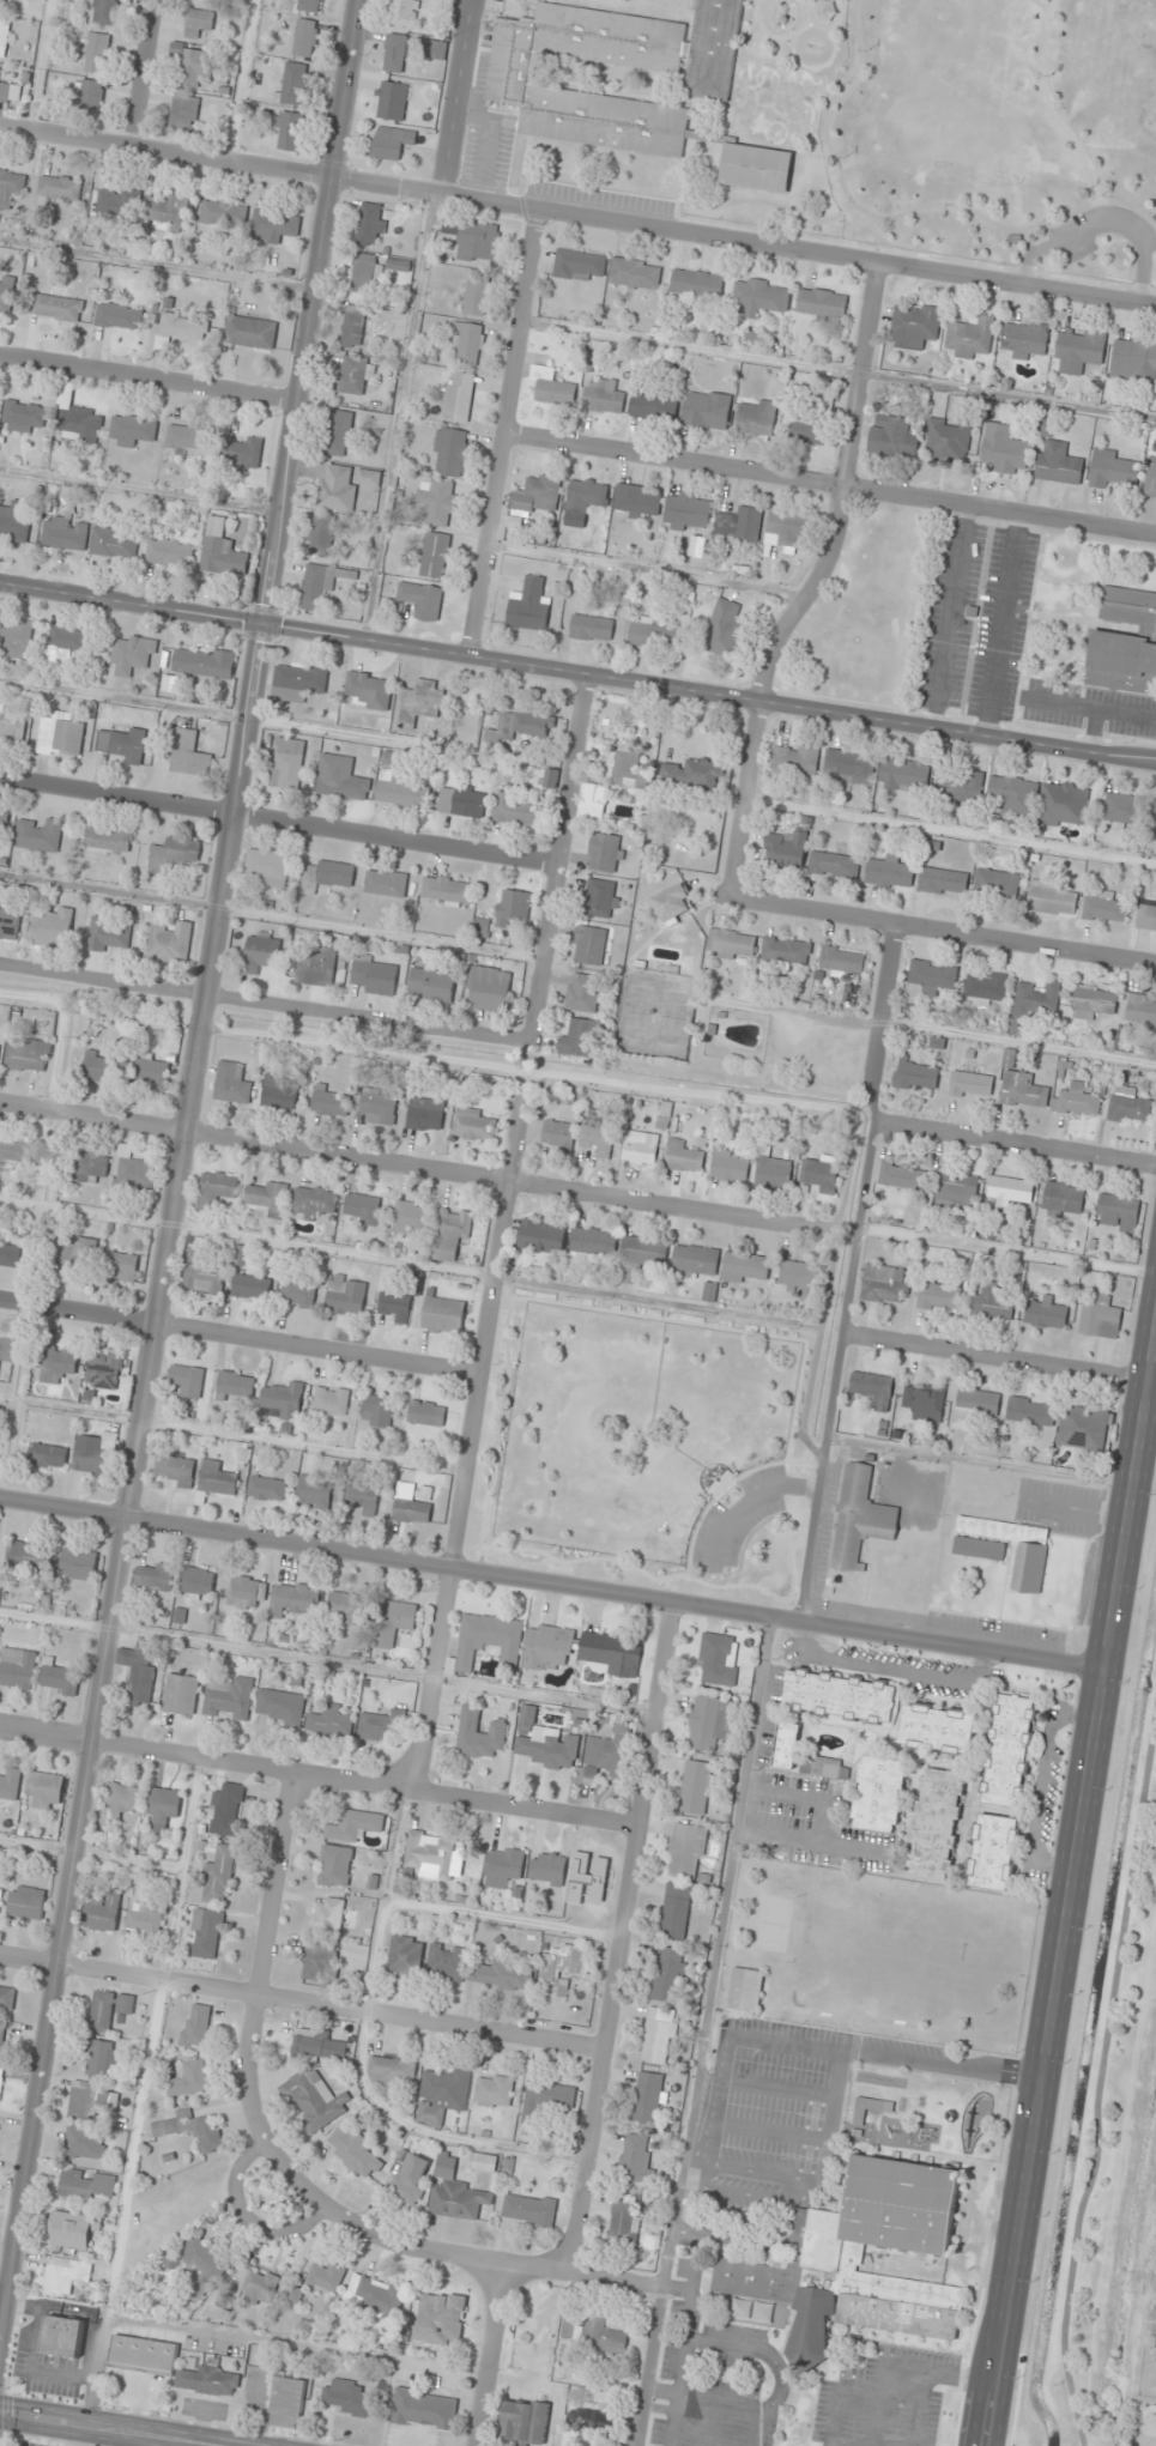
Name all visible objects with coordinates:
building: (1, 2)
building: (309, 5)
building: (103, 11)
building: (403, 12)
building: (198, 22)
building: (4, 37)
building: (304, 38)
building: (435, 50)
building: (97, 53)
building: (393, 53)
road: (37, 63)
building: (194, 63)
road: (146, 73)
building: (509, 79)
road: (241, 80)
building: (292, 84)
building: (7, 93)
road: (462, 96)
building: (89, 97)
building: (388, 99)
road: (1049, 105)
building: (184, 114)
building: (289, 129)
park: (998, 132)
building: (388, 143)
road: (486, 158)
building: (753, 168)
park: (753, 168)
building: (11, 186)
building: (60, 187)
road: (1096, 202)
building: (110, 204)
road: (1133, 208)
building: (167, 211)
road: (864, 212)
building: (223, 213)
road: (577, 214)
road: (1100, 224)
building: (370, 225)
building: (274, 228)
parking lot: (1098, 231)
building: (471, 240)
road: (157, 264)
building: (400, 265)
building: (580, 266)
building: (365, 273)
building: (635, 274)
building: (697, 285)
building: (6, 295)
building: (473, 295)
building: (761, 296)
building: (822, 303)
building: (58, 308)
building: (120, 316)
building: (355, 323)
building: (184, 326)
building: (914, 326)
building: (250, 332)
building: (972, 337)
building: (1027, 340)
building: (466, 344)
building: (1079, 351)
building: (1132, 358)
building: (352, 375)
road: (147, 379)
building: (551, 387)
building: (455, 396)
building: (603, 398)
building: (654, 407)
building: (707, 410)
road: (399, 416)
building: (24, 417)
building: (756, 418)
building: (78, 422)
building: (813, 423)
building: (132, 430)
road: (507, 432)
building: (338, 434)
building: (188, 437)
building: (892, 437)
building: (948, 440)
building: (1004, 449)
building: (238, 453)
building: (448, 453)
building: (1059, 465)
building: (1113, 471)
building: (1150, 478)
road: (830, 484)
building: (340, 485)
road: (139, 491)
building: (537, 495)
building: (436, 501)
building: (585, 501)
building: (638, 501)
building: (689, 511)
building: (14, 521)
building: (740, 526)
building: (792, 529)
building: (65, 534)
building: (320, 535)
building: (115, 544)
building: (698, 546)
building: (222, 551)
building: (167, 552)
building: (432, 555)
road: (817, 583)
building: (320, 585)
building: (418, 600)
road: (131, 601)
building: (529, 606)
traffic signals: (262, 623)
building: (725, 628)
building: (592, 629)
building: (655, 635)
building: (14, 637)
building: (68, 642)
building: (1122, 643)
building: (129, 655)
building: (204, 662)
building: (298, 682)
building: (369, 690)
road: (708, 694)
building: (422, 703)
building: (520, 725)
building: (12, 729)
building: (61, 738)
building: (121, 744)
building: (189, 753)
building: (794, 758)
building: (286, 763)
building: (849, 767)
building: (629, 771)
building: (695, 774)
building: (904, 774)
building: (340, 779)
building: (551, 779)
building: (962, 787)
building: (400, 791)
building: (1012, 793)
building: (461, 801)
building: (593, 801)
building: (1064, 805)
building: (1122, 810)
building: (519, 812)
building: (1154, 817)
road: (280, 821)
building: (4, 822)
building: (40, 835)
building: (107, 840)
building: (786, 849)
building: (175, 853)
building: (605, 853)
road: (561, 859)
building: (834, 865)
building: (268, 867)
building: (889, 873)
building: (329, 876)
building: (943, 882)
building: (386, 884)
building: (997, 884)
building: (448, 891)
building: (1052, 898)
building: (601, 900)
building: (674, 903)
building: (512, 908)
building: (1104, 909)
building: (1146, 916)
building: (10, 925)
building: (52, 928)
building: (109, 934)
road: (944, 936)
building: (170, 942)
building: (591, 945)
building: (732, 945)
building: (786, 951)
building: (261, 952)
building: (842, 962)
building: (317, 968)
building: (374, 976)
building: (933, 976)
building: (431, 985)
building: (985, 988)
building: (489, 989)
building: (583, 993)
building: (1037, 999)
building: (1093, 1003)
road: (265, 1006)
building: (1139, 1010)
building: (580, 1040)
building: (29, 1054)
building: (97, 1067)
building: (151, 1073)
building: (916, 1076)
building: (232, 1084)
building: (972, 1086)
building: (1022, 1091)
building: (280, 1092)
building: (331, 1102)
building: (1076, 1102)
building: (379, 1107)
building: (1128, 1107)
building: (425, 1115)
building: (474, 1126)
building: (558, 1137)
building: (598, 1140)
road: (1017, 1143)
building: (640, 1148)
building: (14, 1150)
building: (684, 1157)
building: (730, 1166)
road: (419, 1167)
building: (90, 1168)
building: (774, 1171)
building: (819, 1174)
building: (135, 1175)
road: (175, 1175)
building: (903, 1177)
building: (957, 1187)
building: (217, 1188)
building: (1010, 1192)
building: (267, 1198)
building: (1064, 1198)
building: (314, 1203)
building: (362, 1209)
building: (1119, 1213)
building: (411, 1217)
building: (452, 1233)
building: (543, 1236)
building: (594, 1243)
building: (8, 1254)
building: (75, 1254)
building: (640, 1257)
building: (694, 1261)
building: (122, 1266)
building: (745, 1267)
building: (202, 1275)
road: (853, 1276)
building: (799, 1277)
building: (885, 1284)
building: (250, 1288)
building: (709, 1292)
building: (298, 1294)
building: (346, 1295)
building: (939, 1296)
road: (656, 1303)
building: (993, 1304)
building: (395, 1306)
building: (1048, 1314)
building: (443, 1316)
building: (1101, 1319)
road: (240, 1336)
building: (7, 1349)
road: (997, 1361)
building: (59, 1363)
building: (105, 1370)
building: (188, 1381)
building: (236, 1386)
building: (872, 1390)
building: (282, 1400)
building: (332, 1401)
building: (924, 1401)
building: (974, 1409)
building: (377, 1411)
building: (1031, 1411)
building: (428, 1413)
building: (1083, 1428)
road: (468, 1439)
park: (644, 1447)
building: (96, 1454)
building: (48, 1457)
building: (175, 1471)
building: (217, 1479)
building: (267, 1489)
building: (314, 1493)
building: (362, 1499)
building: (412, 1506)
building: (860, 1518)
building: (1005, 1548)
building: (30, 1556)
building: (79, 1564)
building: (156, 1575)
building: (198, 1584)
road: (553, 1584)
building: (247, 1593)
building: (296, 1599)
building: (346, 1609)
building: (394, 1622)
building: (488, 1641)
building: (549, 1648)
building: (612, 1653)
building: (718, 1660)
building: (18, 1669)
building: (138, 1676)
building: (60, 1681)
building: (181, 1695)
building: (840, 1696)
building: (229, 1699)
building: (282, 1707)
building: (329, 1721)
building: (710, 1723)
building: (383, 1726)
building: (937, 1728)
building: (479, 1734)
building: (546, 1743)
building: (788, 1745)
building: (1009, 1750)
building: (609, 1754)
road: (317, 1775)
building: (10, 1786)
building: (697, 1787)
building: (47, 1790)
building: (879, 1794)
building: (122, 1799)
building: (164, 1806)
building: (226, 1810)
building: (934, 1824)
building: (356, 1827)
building: (686, 1852)
building: (992, 1852)
building: (431, 1858)
building: (506, 1863)
building: (335, 1866)
building: (549, 1869)
building: (219, 1876)
road: (1071, 1891)
building: (1, 1895)
building: (26, 1902)
building: (676, 1911)
building: (103, 1912)
building: (329, 1915)
building: (145, 1919)
road: (267, 1920)
building: (206, 1933)
road: (619, 1938)
building: (406, 1956)
building: (320, 1961)
building: (447, 1962)
building: (564, 1967)
building: (502, 1973)
building: (668, 1975)
building: (746, 1991)
building: (7, 1999)
road: (301, 2000)
building: (108, 2010)
building: (195, 2026)
building: (659, 2036)
building: (2, 2041)
building: (308, 2047)
building: (101, 2058)
building: (392, 2070)
building: (1, 2077)
building: (182, 2083)
road: (1097, 2085)
building: (494, 2091)
building: (443, 2096)
building: (647, 2097)
building: (90, 2101)
building: (315, 2101)
road: (696, 2105)
building: (545, 2107)
building: (865, 2109)
building: (192, 2129)
building: (85, 2143)
building: (356, 2155)
building: (634, 2157)
building: (483, 2163)
building: (412, 2181)
building: (87, 2185)
building: (456, 2192)
building: (529, 2210)
building: (624, 2223)
building: (72, 2230)
road: (411, 2246)
building: (854, 2264)
building: (202, 2268)
building: (327, 2276)
building: (66, 2277)
building: (260, 2287)
building: (376, 2295)
building: (441, 2320)
building: (603, 2335)
building: (65, 2337)
building: (144, 2354)
road: (486, 2355)
building: (1155, 2357)
building: (208, 2380)
building: (289, 2396)
building: (349, 2397)
building: (425, 2409)
building: (591, 2420)
building: (525, 2421)
road: (99, 2430)

